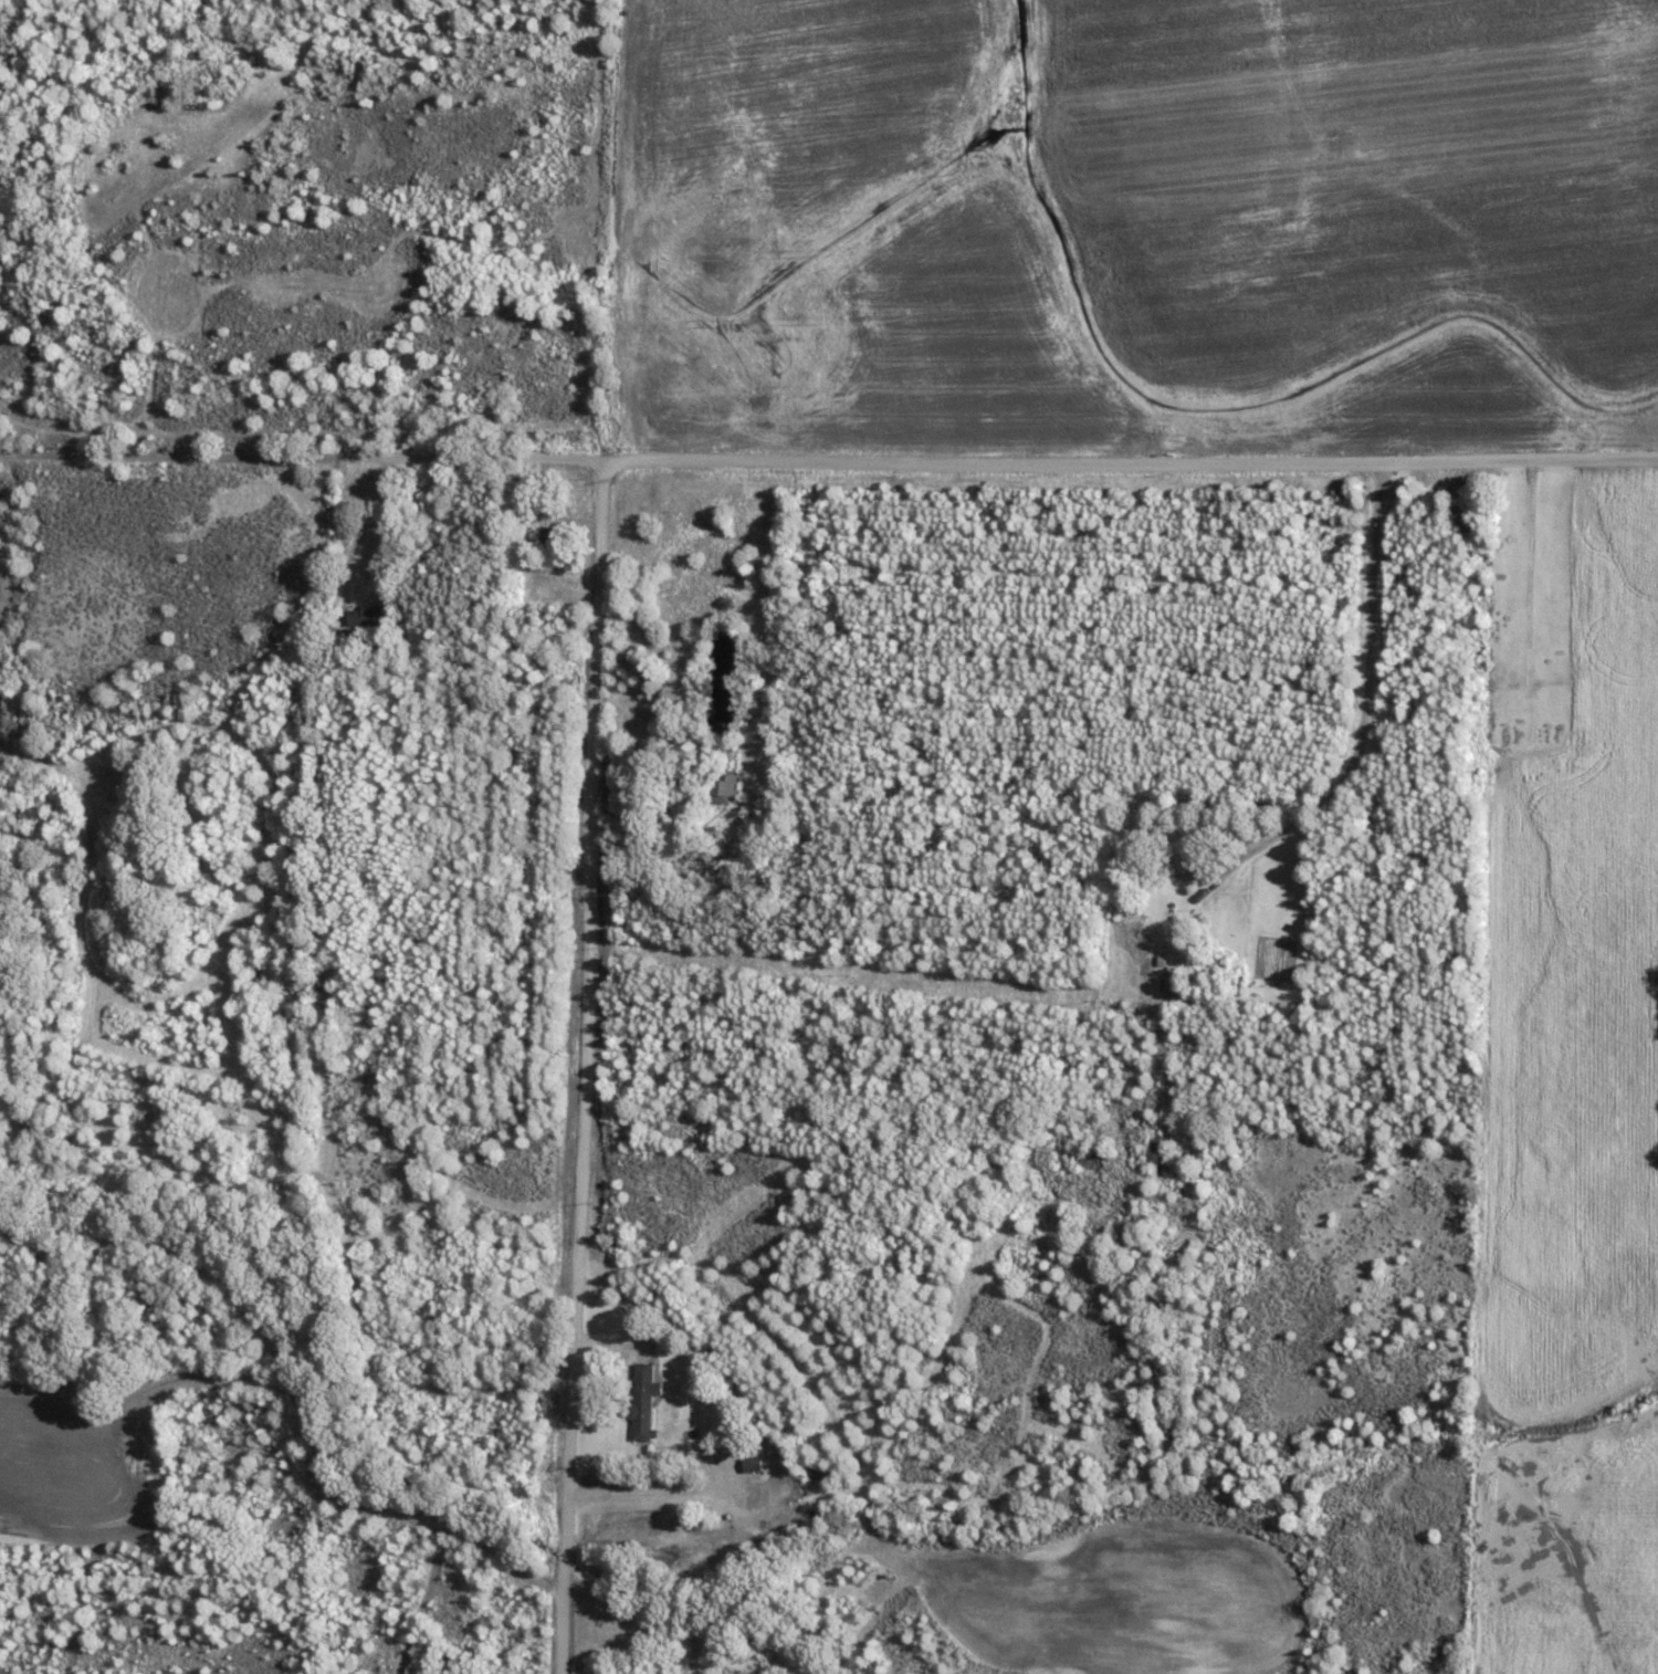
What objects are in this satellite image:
road: (828, 457)
building: (552, 538)
building: (366, 616)
road: (1354, 682)
building: (723, 788)
building: (1184, 864)
building: (1172, 984)
road: (571, 1066)
road: (769, 1139)
building: (1158, 1154)
building: (644, 1400)
road: (725, 1411)

